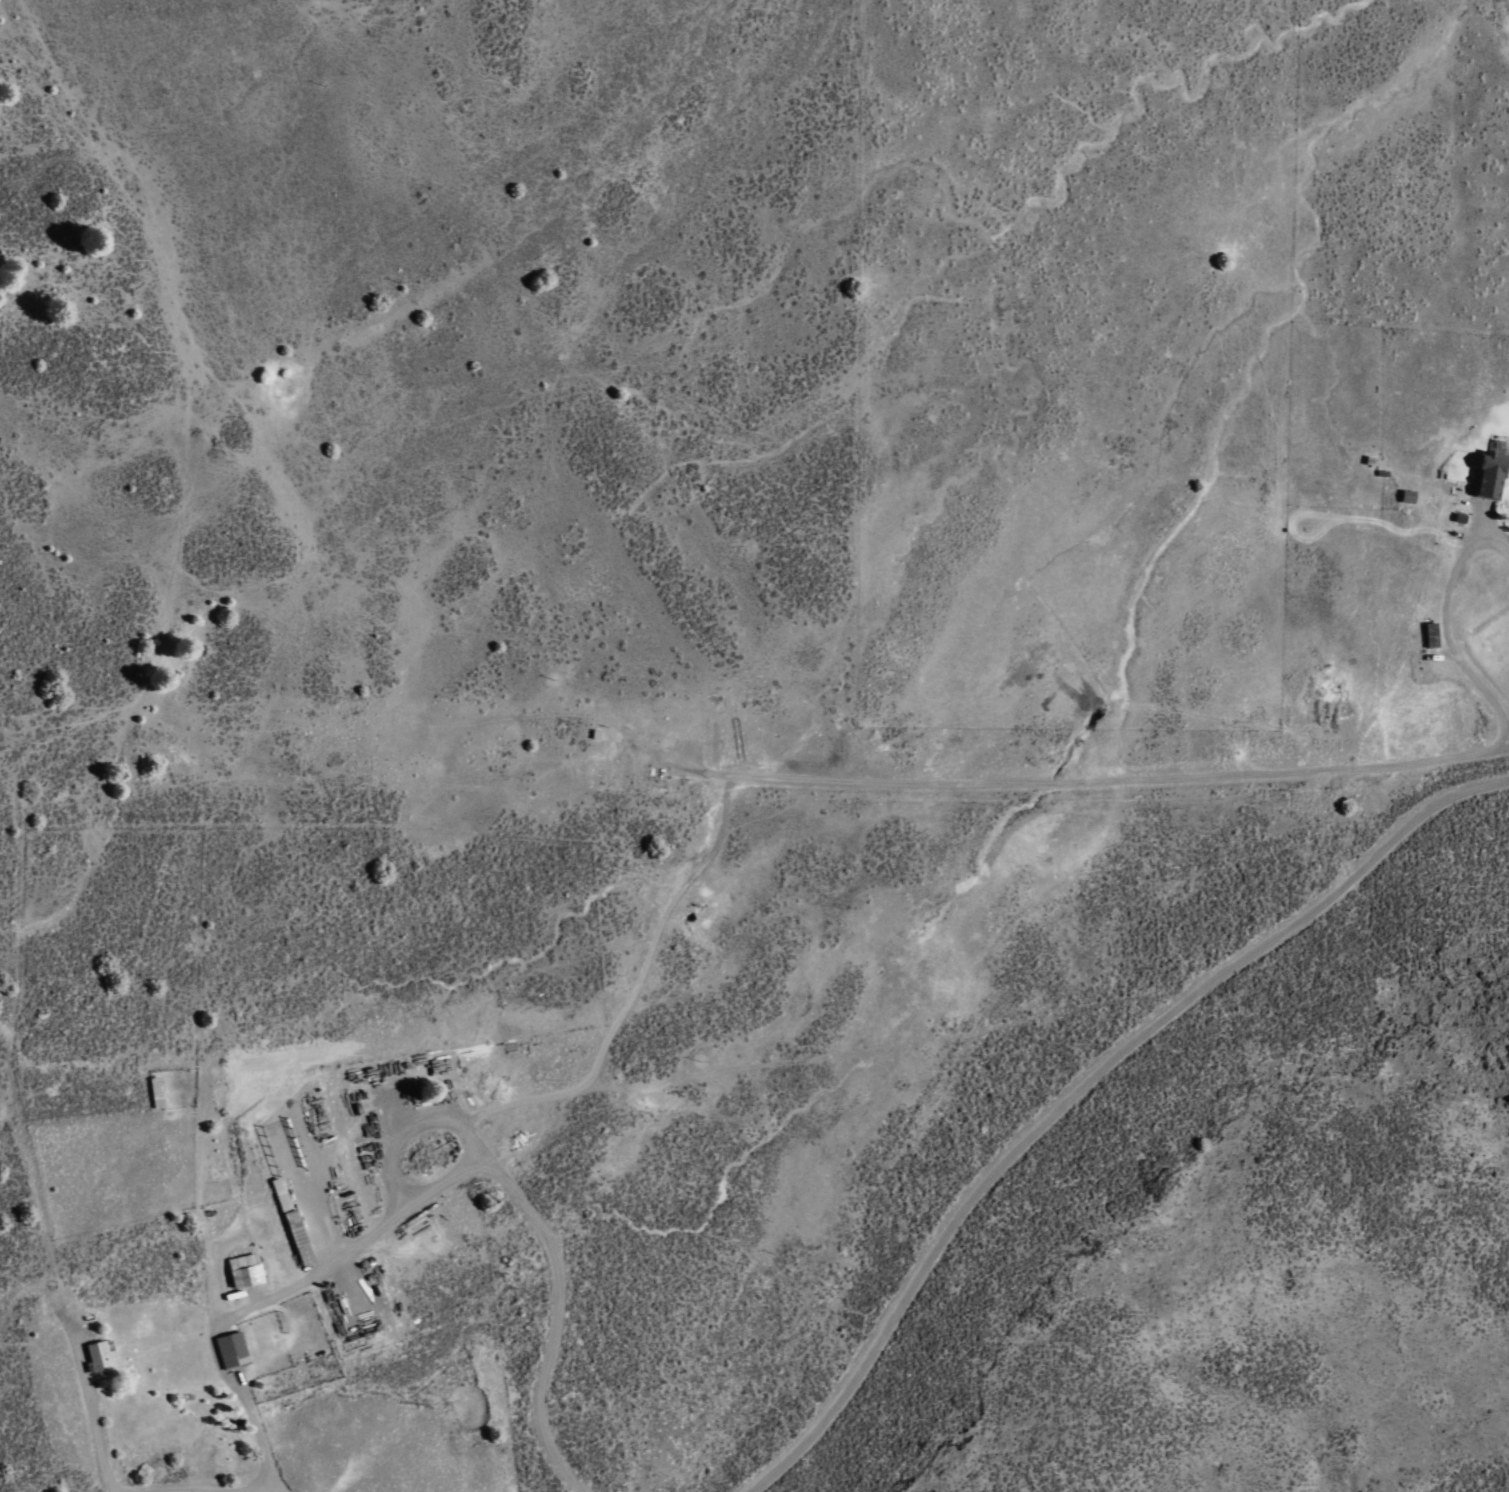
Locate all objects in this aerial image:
building: (1490, 470)
building: (1406, 496)
crop: (855, 696)
building: (155, 1091)
building: (278, 1149)
building: (290, 1220)
building: (243, 1269)
building: (230, 1348)
building: (95, 1355)

